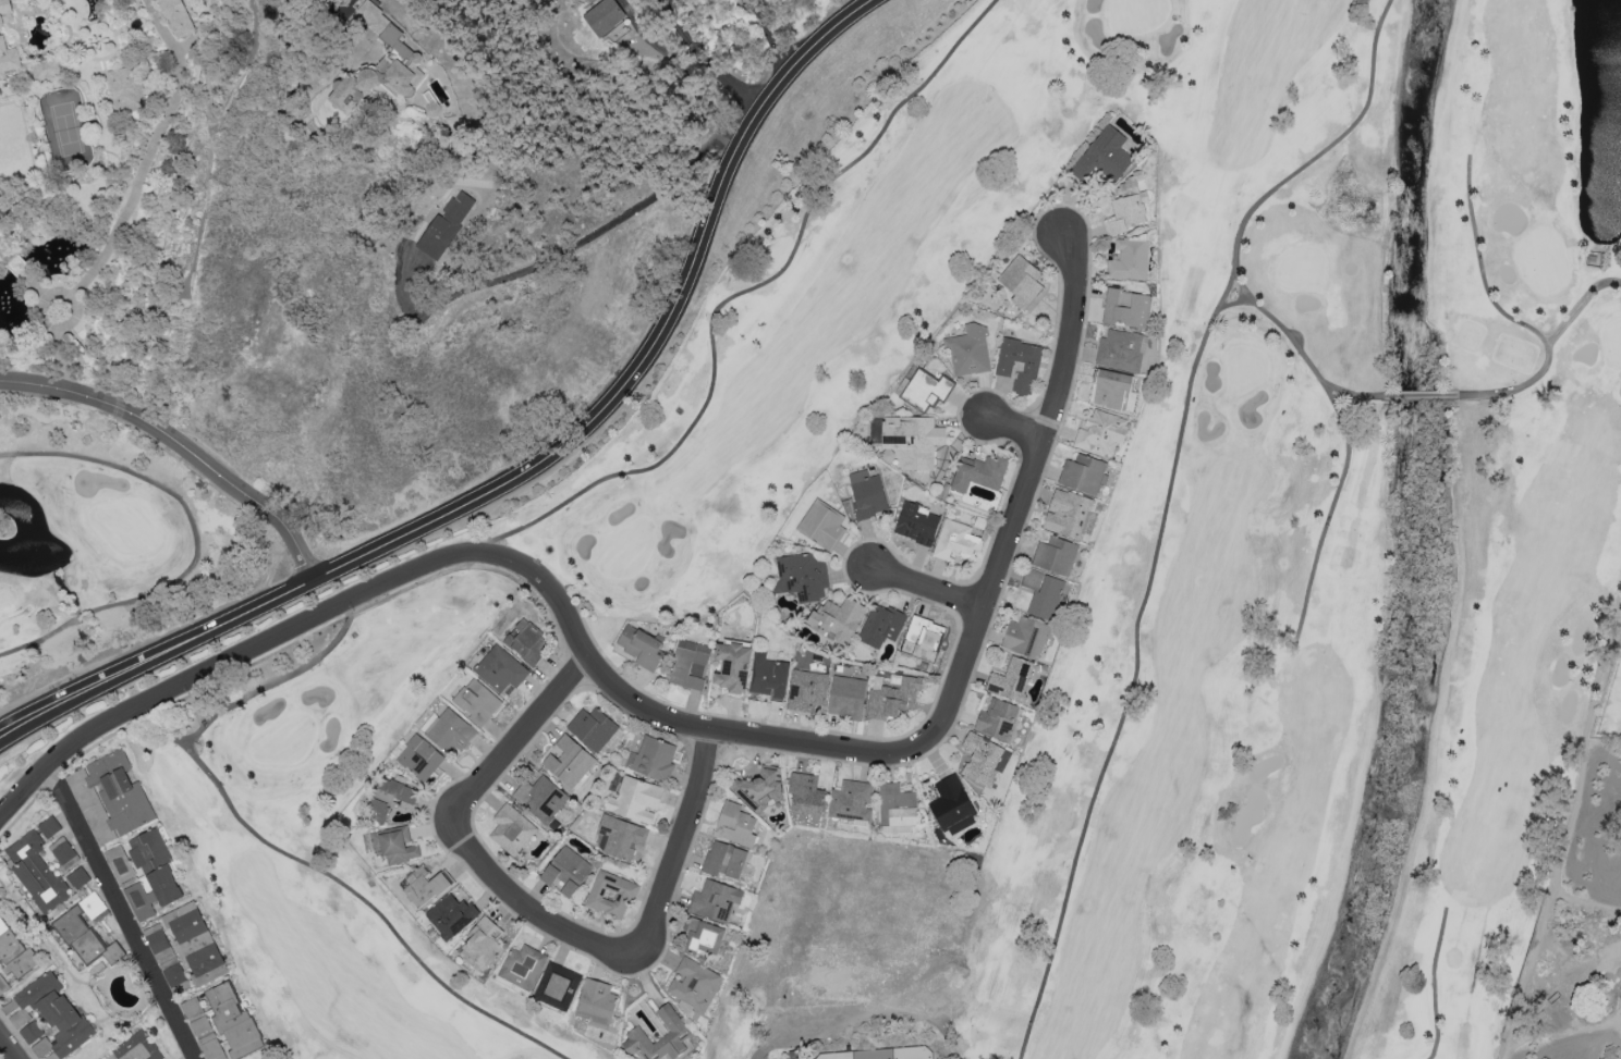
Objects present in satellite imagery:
building: (587, 1)
building: (604, 16)
building: (175, 17)
road: (769, 36)
building: (2, 40)
road: (688, 58)
building: (385, 65)
building: (46, 69)
building: (124, 88)
building: (1104, 156)
building: (1128, 206)
building: (447, 225)
road: (548, 258)
building: (1129, 259)
building: (1021, 281)
road: (1233, 303)
road: (1579, 304)
building: (1126, 308)
road: (1504, 315)
building: (1121, 349)
building: (968, 350)
building: (1019, 365)
building: (1111, 390)
building: (925, 391)
road: (1353, 394)
road: (1422, 395)
road: (1015, 428)
building: (1101, 433)
road: (1348, 441)
building: (913, 443)
road: (179, 451)
road: (533, 470)
building: (979, 473)
building: (1083, 473)
building: (867, 494)
road: (1166, 504)
building: (1067, 514)
building: (917, 524)
building: (821, 526)
river: (1422, 535)
park: (100, 537)
park: (1228, 540)
building: (955, 541)
building: (1056, 555)
road: (455, 567)
building: (802, 575)
road: (928, 590)
building: (1043, 593)
building: (837, 619)
building: (881, 626)
road: (296, 628)
building: (1025, 637)
building: (923, 639)
building: (527, 641)
building: (642, 647)
building: (690, 665)
building: (732, 667)
road: (961, 668)
building: (500, 669)
building: (769, 677)
building: (1011, 679)
building: (806, 690)
building: (892, 695)
building: (846, 697)
building: (476, 702)
building: (997, 719)
building: (593, 728)
building: (449, 731)
building: (417, 756)
building: (653, 759)
building: (568, 762)
road: (482, 778)
building: (759, 787)
building: (119, 792)
building: (805, 795)
building: (390, 797)
building: (541, 799)
building: (635, 800)
building: (897, 805)
building: (952, 806)
building: (735, 825)
road: (1569, 825)
building: (49, 827)
building: (511, 829)
park: (330, 837)
building: (619, 837)
building: (395, 846)
building: (62, 850)
building: (724, 860)
building: (120, 865)
building: (566, 872)
building: (41, 873)
building: (151, 875)
building: (425, 887)
building: (611, 895)
building: (715, 900)
building: (92, 906)
road: (657, 906)
road: (121, 912)
building: (451, 915)
building: (190, 925)
building: (85, 939)
building: (706, 939)
building: (483, 943)
building: (161, 948)
building: (14, 951)
building: (206, 964)
building: (522, 966)
building: (175, 977)
road: (1433, 984)
building: (557, 986)
building: (596, 1002)
building: (56, 1013)
building: (233, 1021)
building: (202, 1029)
building: (31, 1032)
road: (773, 1032)
building: (660, 1038)
park: (721, 1047)
building: (137, 1048)
road: (7, 1049)
building: (790, 1055)
park: (887, 1055)

